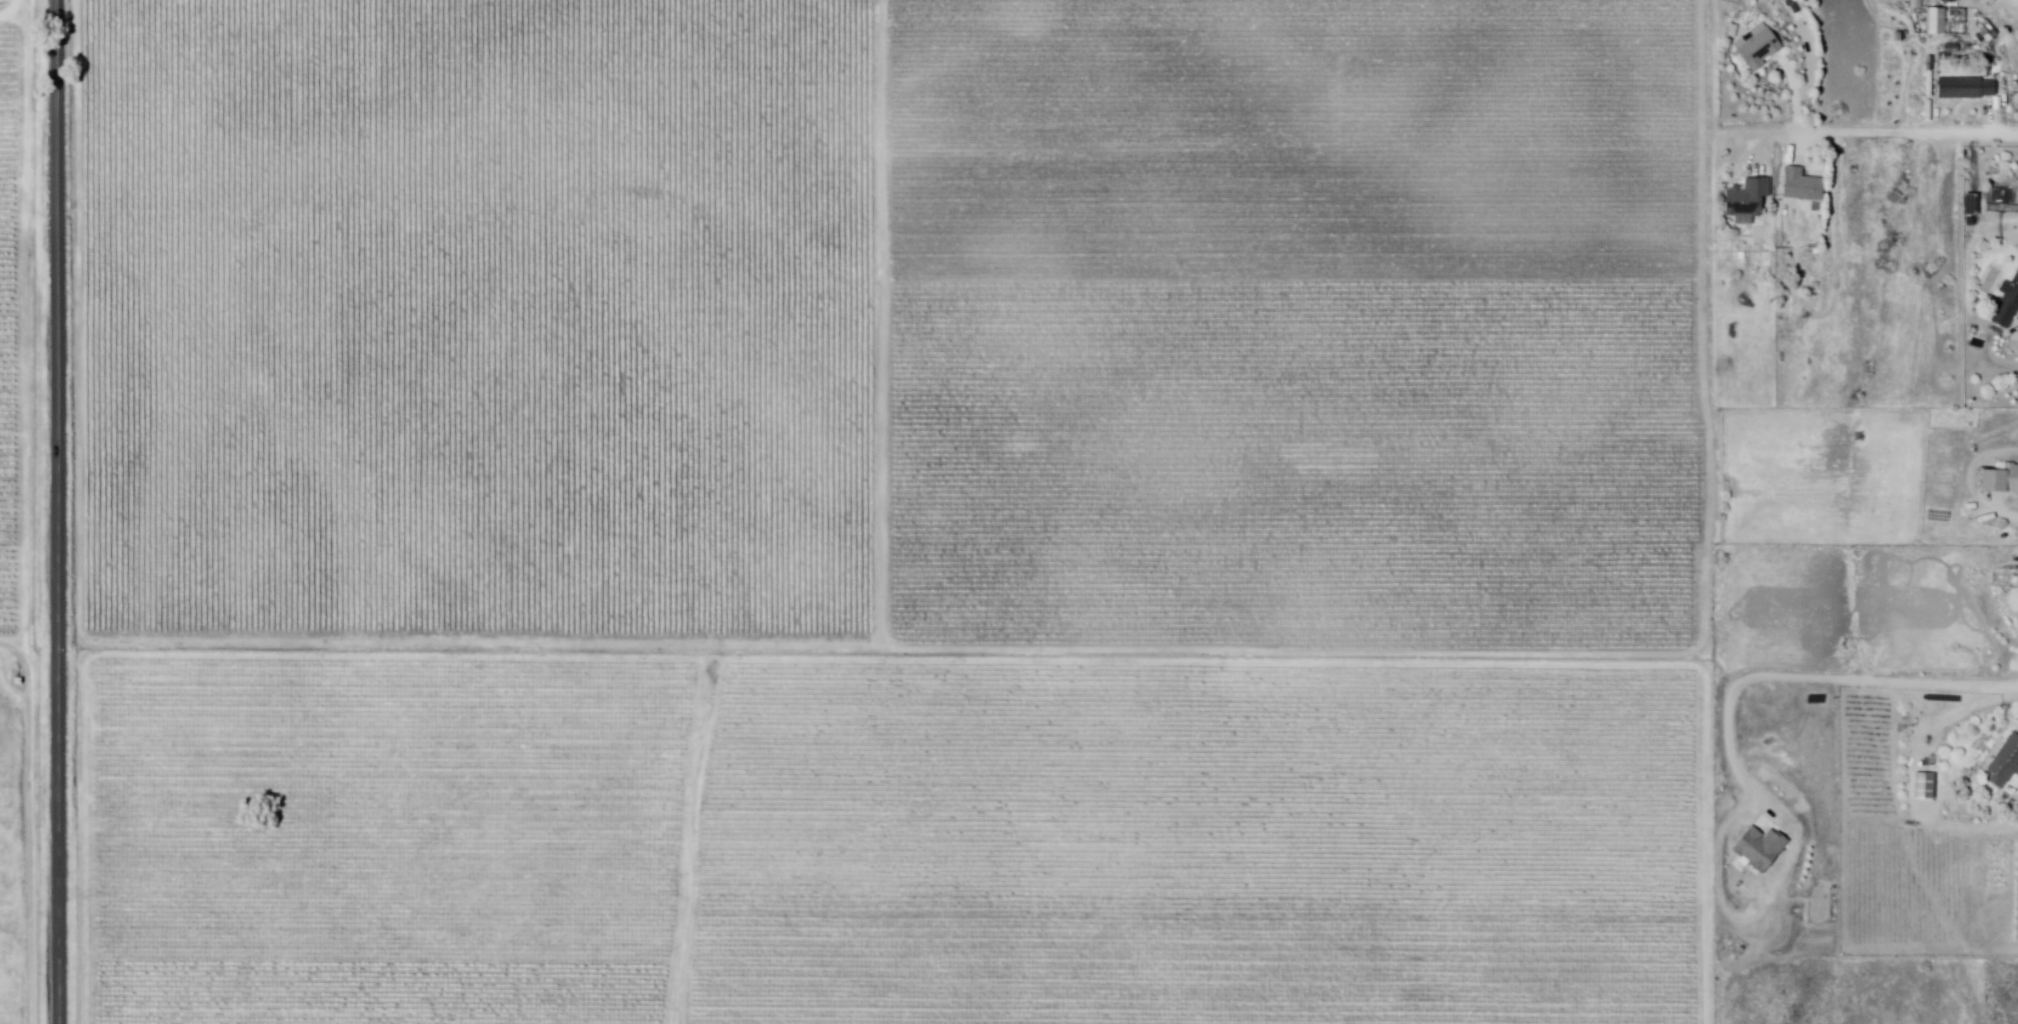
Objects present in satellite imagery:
building: (1939, 24)
building: (1758, 48)
building: (1966, 91)
road: (1797, 94)
road: (1864, 135)
road: (1763, 150)
building: (1750, 202)
building: (1807, 206)
road: (1837, 274)
building: (2007, 311)
road: (883, 324)
building: (2002, 484)
road: (2009, 510)
road: (56, 511)
road: (164, 642)
road: (1622, 656)
road: (1806, 678)
building: (2005, 763)
building: (1762, 847)

